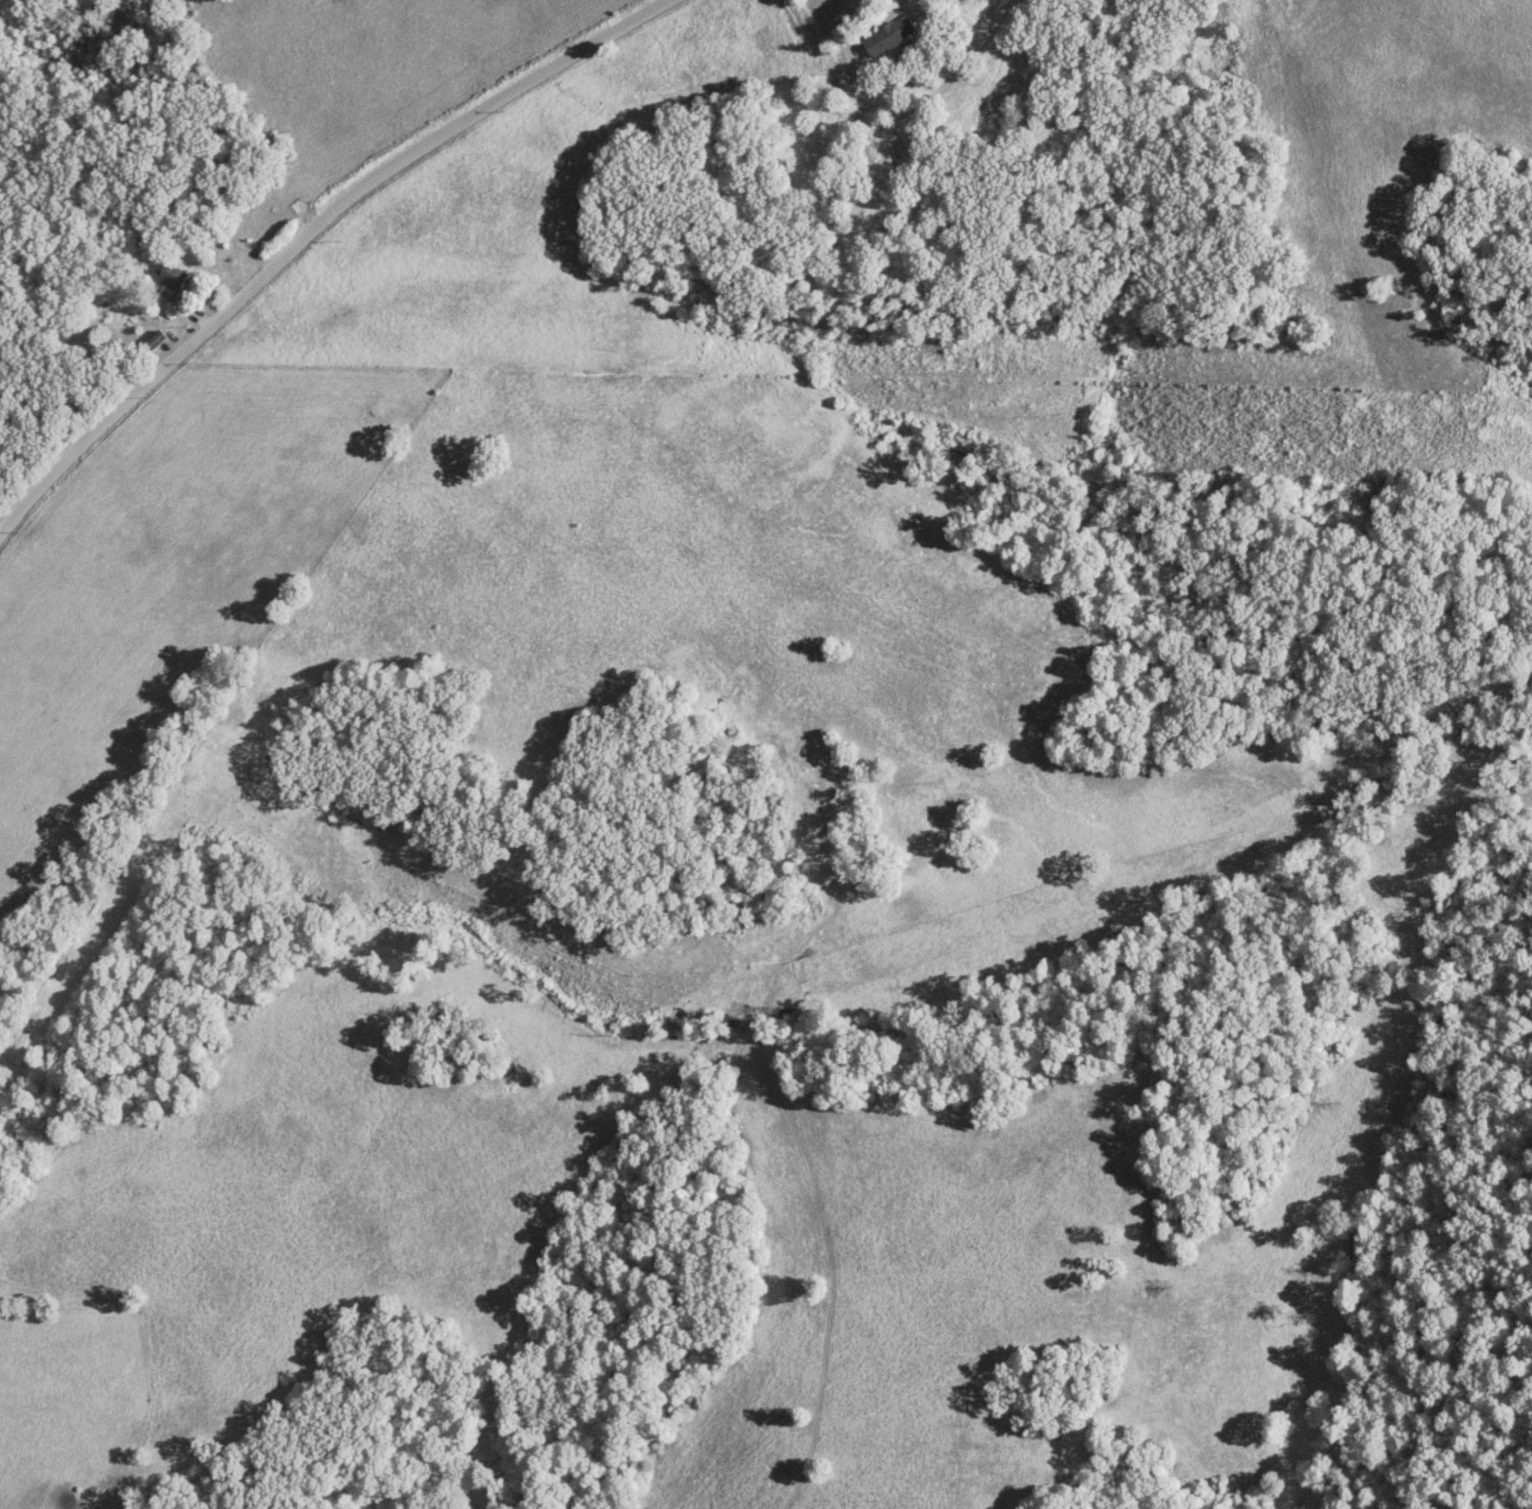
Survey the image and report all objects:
building: (883, 37)
road: (873, 61)
road: (301, 230)
building: (168, 281)
building: (152, 339)

